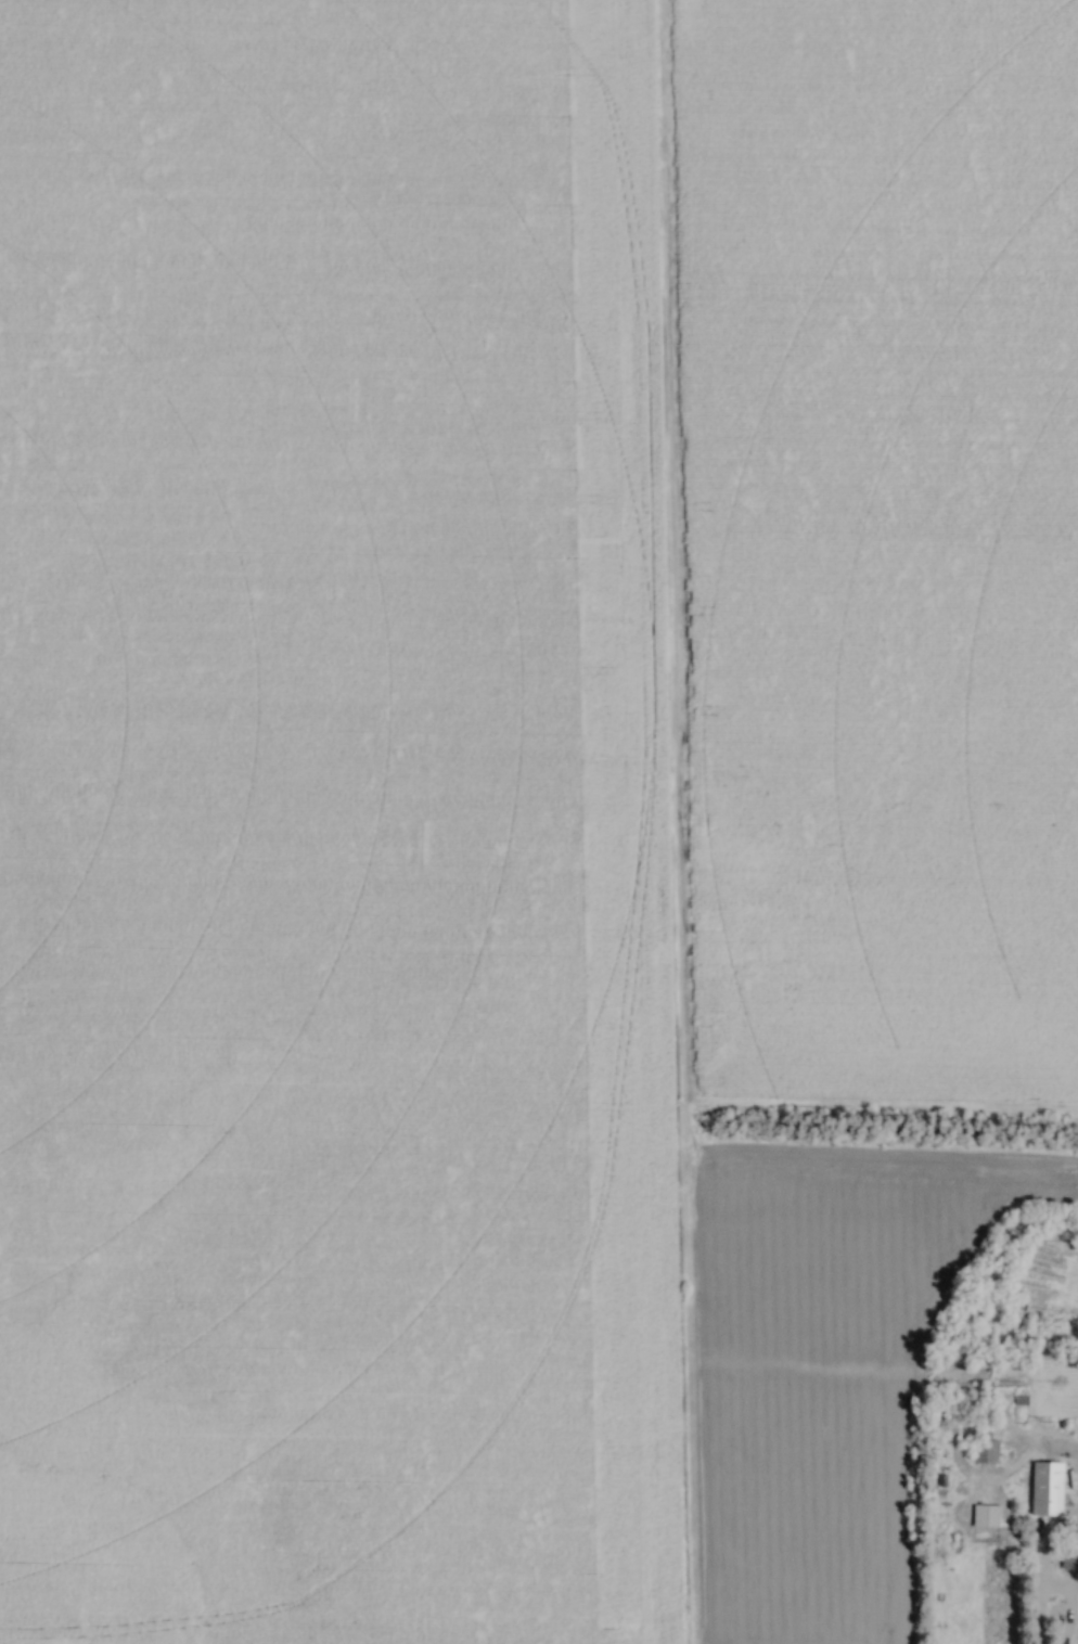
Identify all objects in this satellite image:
building: (983, 1452)
building: (1043, 1489)
building: (1068, 1557)

